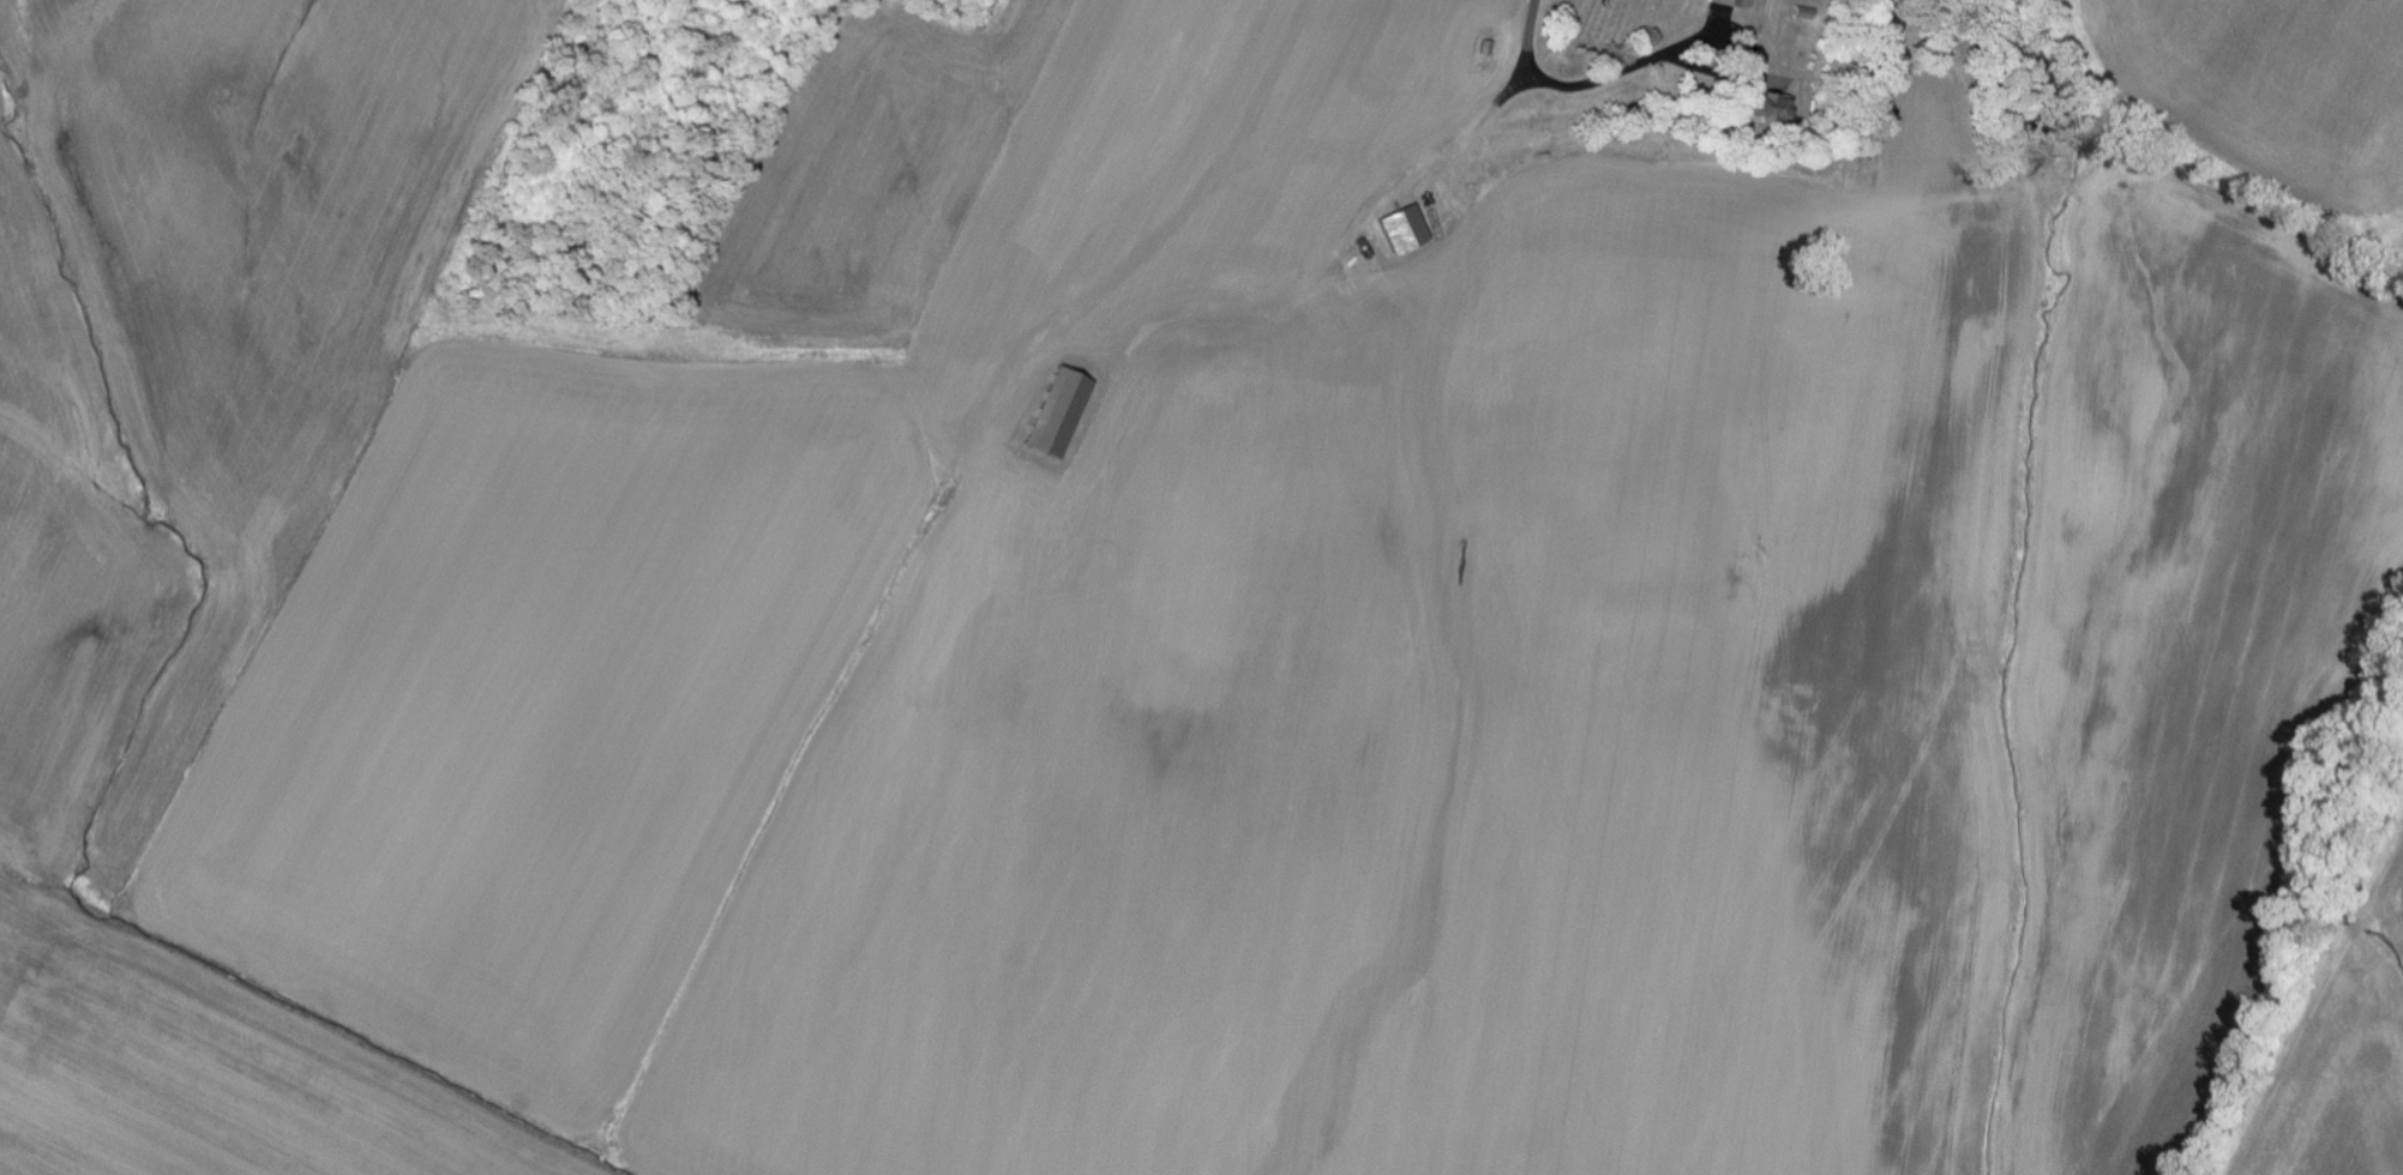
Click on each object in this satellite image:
building: (1741, 4)
road: (1531, 44)
building: (1411, 230)
building: (1067, 412)

